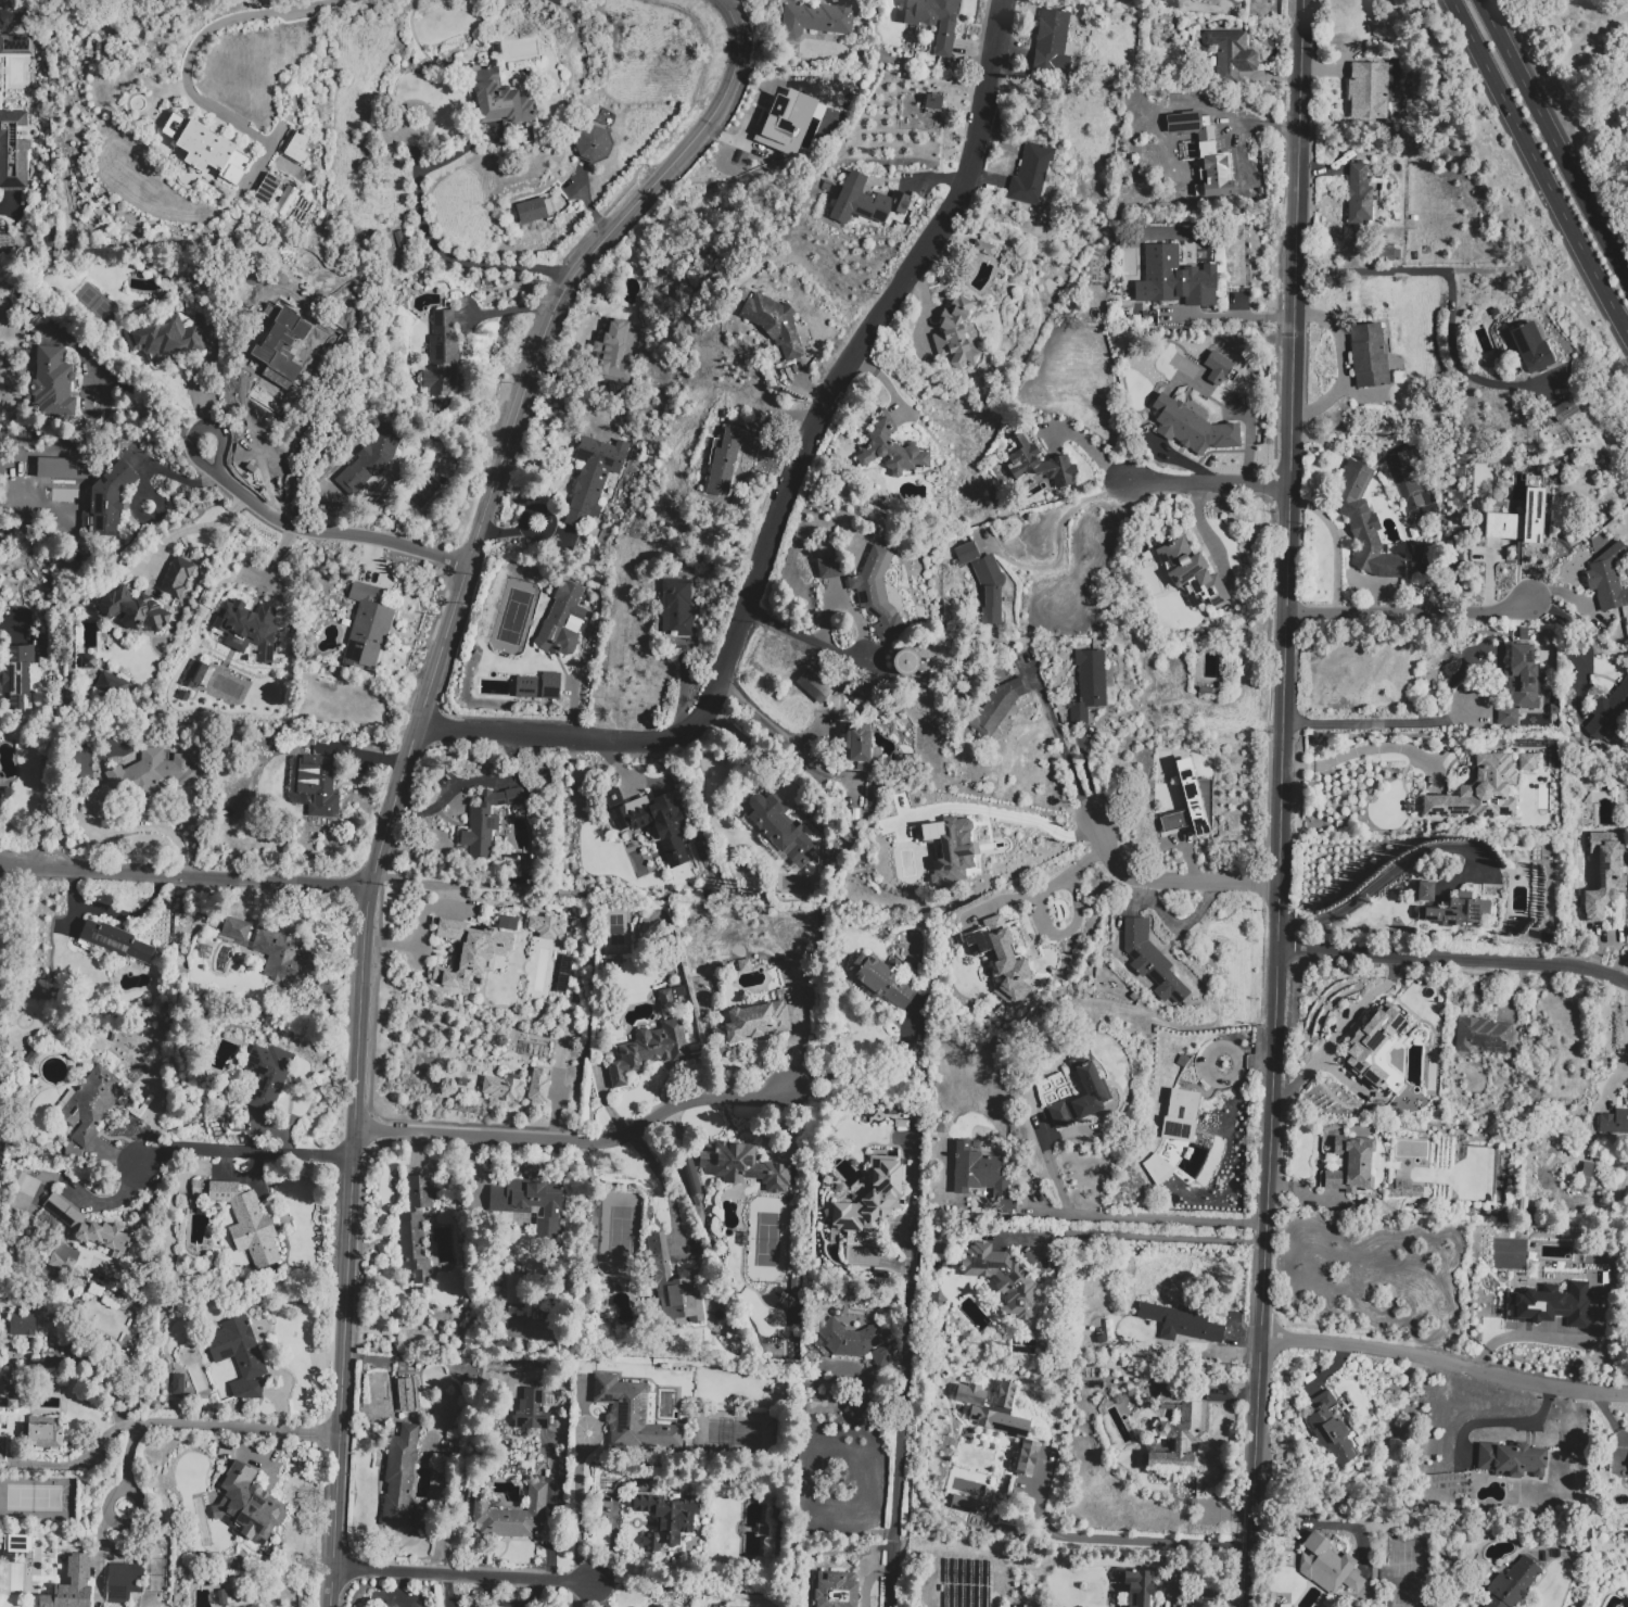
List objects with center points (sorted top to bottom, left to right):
building: (1229, 0)
building: (823, 17)
building: (934, 21)
road: (200, 38)
building: (1052, 41)
building: (21, 45)
building: (1230, 54)
building: (1368, 90)
building: (497, 99)
building: (931, 101)
building: (531, 135)
road: (1554, 137)
building: (593, 143)
building: (751, 143)
building: (295, 147)
building: (13, 150)
building: (205, 153)
building: (1192, 153)
road: (1541, 162)
building: (1031, 175)
building: (1359, 195)
building: (285, 200)
building: (872, 201)
road: (8, 210)
building: (533, 211)
road: (430, 238)
building: (398, 240)
building: (983, 248)
building: (1387, 254)
building: (1172, 278)
building: (249, 288)
road: (1452, 296)
building: (277, 299)
road: (1228, 317)
building: (774, 324)
building: (955, 334)
building: (165, 341)
building: (1529, 349)
building: (611, 352)
building: (442, 355)
building: (1369, 355)
road: (1346, 363)
building: (271, 365)
building: (1216, 367)
building: (53, 383)
road: (120, 392)
road: (87, 408)
building: (1564, 410)
building: (1197, 431)
road: (255, 446)
building: (891, 451)
building: (370, 459)
building: (724, 463)
building: (1042, 464)
building: (593, 477)
road: (1209, 482)
road: (790, 485)
building: (107, 501)
building: (1531, 515)
building: (1364, 524)
building: (1500, 526)
road: (192, 529)
road: (322, 531)
road: (1058, 539)
building: (829, 567)
road: (274, 573)
building: (1192, 573)
building: (176, 577)
building: (1607, 579)
building: (983, 581)
building: (876, 593)
building: (677, 607)
building: (132, 610)
road: (1412, 612)
building: (562, 621)
building: (245, 628)
building: (367, 628)
road: (1590, 632)
road: (803, 637)
building: (40, 651)
building: (88, 662)
building: (904, 662)
building: (194, 674)
building: (17, 676)
building: (1519, 684)
building: (111, 685)
building: (811, 685)
building: (1089, 685)
building: (550, 686)
building: (526, 687)
building: (1000, 704)
building: (1610, 716)
road: (1384, 722)
road: (784, 737)
road: (1057, 742)
road: (1369, 748)
building: (860, 749)
road: (406, 761)
building: (1527, 761)
building: (141, 779)
building: (318, 784)
building: (1481, 792)
building: (5, 797)
building: (1191, 802)
road: (1282, 803)
road: (1014, 818)
building: (486, 821)
building: (667, 828)
building: (778, 833)
building: (952, 850)
building: (1604, 873)
road: (1068, 874)
road: (1395, 874)
road: (183, 876)
road: (1168, 881)
building: (1423, 891)
building: (1452, 911)
building: (547, 927)
building: (236, 928)
building: (113, 941)
road: (410, 945)
building: (473, 950)
building: (282, 956)
road: (1453, 959)
building: (1003, 961)
building: (1150, 961)
building: (745, 965)
building: (882, 980)
building: (670, 997)
building: (758, 1022)
road: (1336, 1032)
building: (1480, 1036)
building: (1375, 1050)
building: (650, 1051)
road: (1626, 1058)
road: (1255, 1063)
road: (868, 1071)
building: (267, 1075)
road: (1228, 1079)
building: (538, 1086)
building: (1094, 1087)
building: (503, 1088)
building: (91, 1104)
building: (1178, 1115)
building: (1614, 1122)
building: (901, 1124)
building: (939, 1128)
road: (578, 1141)
road: (244, 1151)
road: (1052, 1165)
building: (1351, 1165)
building: (743, 1166)
building: (1156, 1168)
building: (1587, 1169)
building: (983, 1176)
building: (1582, 1182)
building: (196, 1188)
road: (667, 1189)
building: (1406, 1190)
building: (1580, 1192)
building: (874, 1198)
building: (1578, 1201)
building: (531, 1204)
road: (1048, 1212)
road: (1169, 1218)
building: (247, 1224)
building: (87, 1226)
building: (415, 1228)
road: (1127, 1236)
park: (765, 1238)
building: (62, 1257)
building: (1002, 1278)
building: (794, 1285)
building: (675, 1286)
building: (1551, 1305)
building: (1181, 1324)
building: (22, 1325)
building: (847, 1339)
road: (1556, 1341)
building: (239, 1356)
building: (883, 1356)
road: (1445, 1362)
road: (1332, 1367)
building: (176, 1383)
building: (407, 1393)
building: (11, 1394)
building: (530, 1409)
building: (634, 1416)
building: (1000, 1419)
road: (198, 1426)
building: (1332, 1428)
building: (1177, 1433)
building: (44, 1438)
road: (900, 1446)
road: (88, 1451)
building: (1511, 1459)
building: (399, 1476)
building: (962, 1503)
building: (247, 1506)
road: (580, 1506)
building: (512, 1516)
building: (665, 1518)
road: (611, 1530)
road: (1124, 1541)
building: (16, 1543)
road: (99, 1552)
building: (1327, 1566)
road: (463, 1574)
building: (68, 1579)
building: (123, 1582)
building: (1512, 1583)
building: (1137, 1587)
building: (834, 1590)
road: (576, 1594)
building: (1627, 1602)
building: (670, 1604)
building: (254, 1606)

